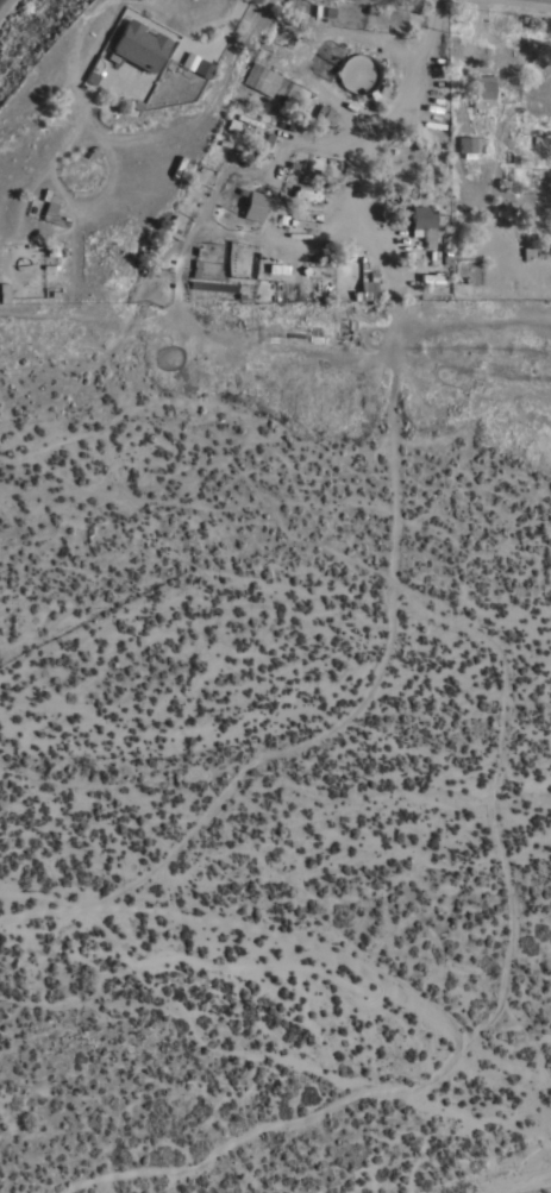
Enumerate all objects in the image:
road: (234, 10)
building: (138, 45)
road: (192, 46)
building: (202, 68)
building: (259, 79)
building: (481, 90)
building: (324, 114)
building: (232, 124)
road: (372, 127)
building: (470, 145)
building: (253, 205)
building: (49, 208)
building: (303, 222)
building: (422, 222)
building: (532, 252)
building: (50, 268)
building: (367, 288)
building: (4, 291)

